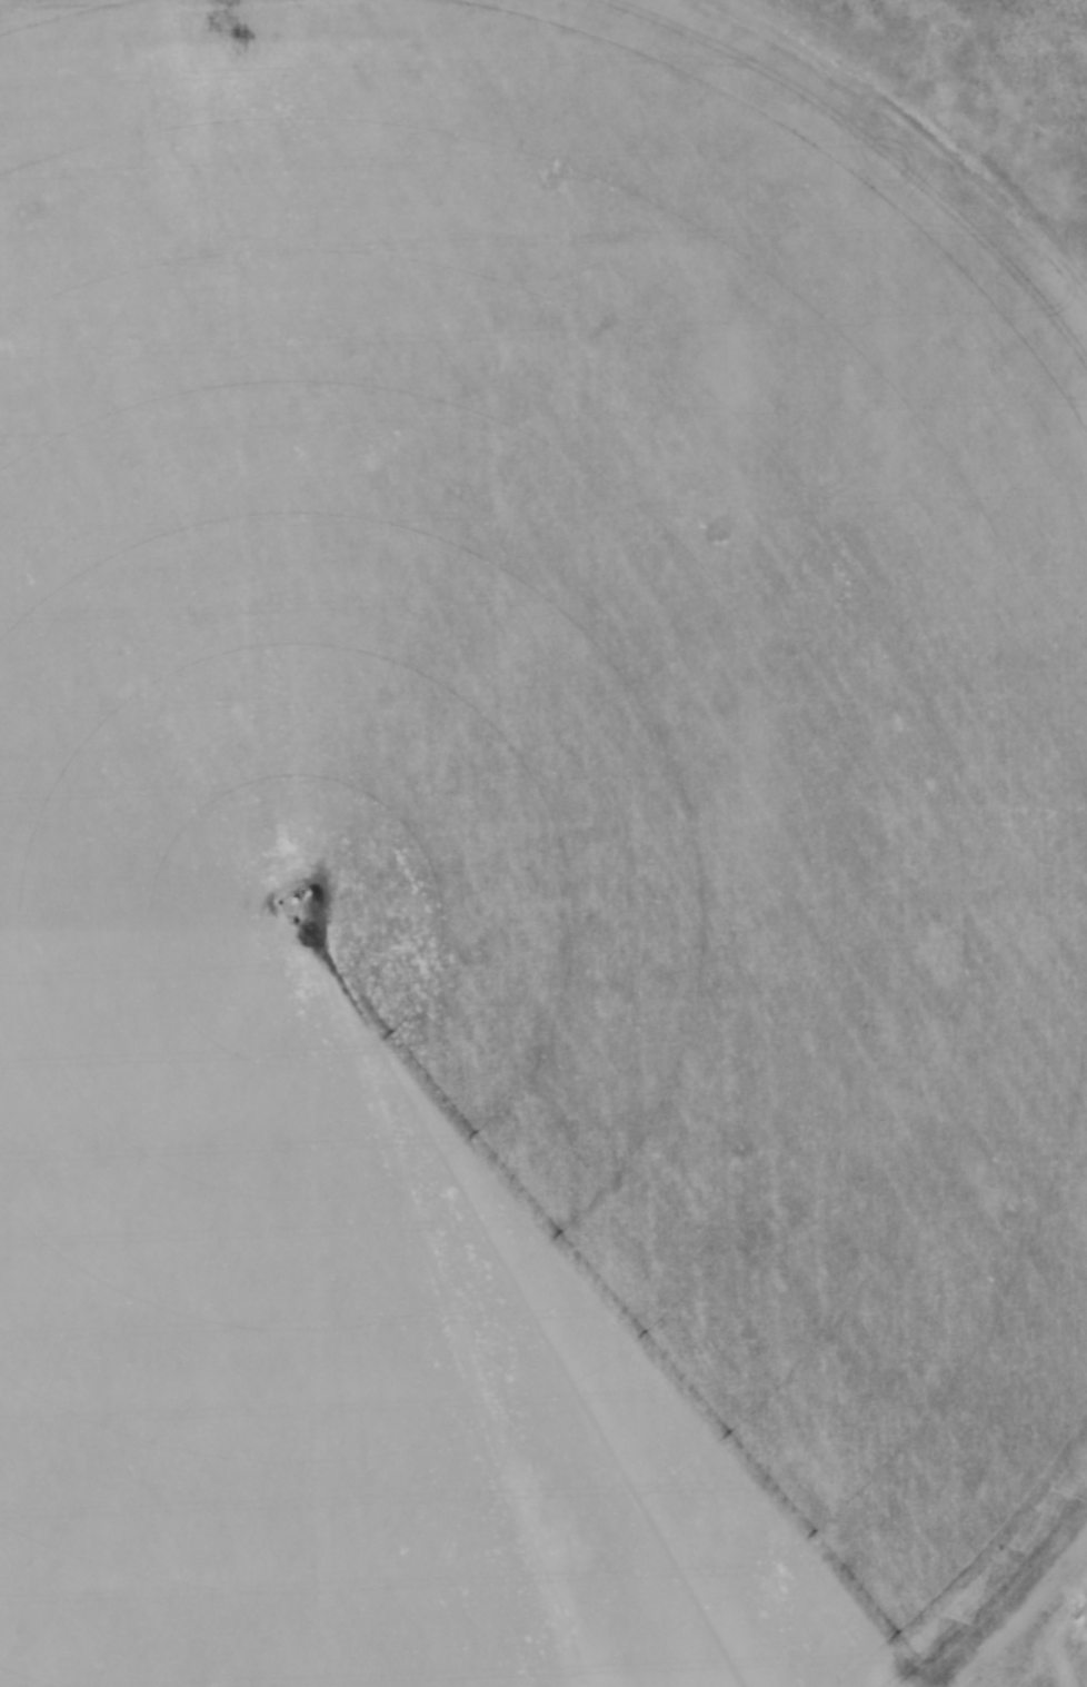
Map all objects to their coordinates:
crop: (528, 861)

